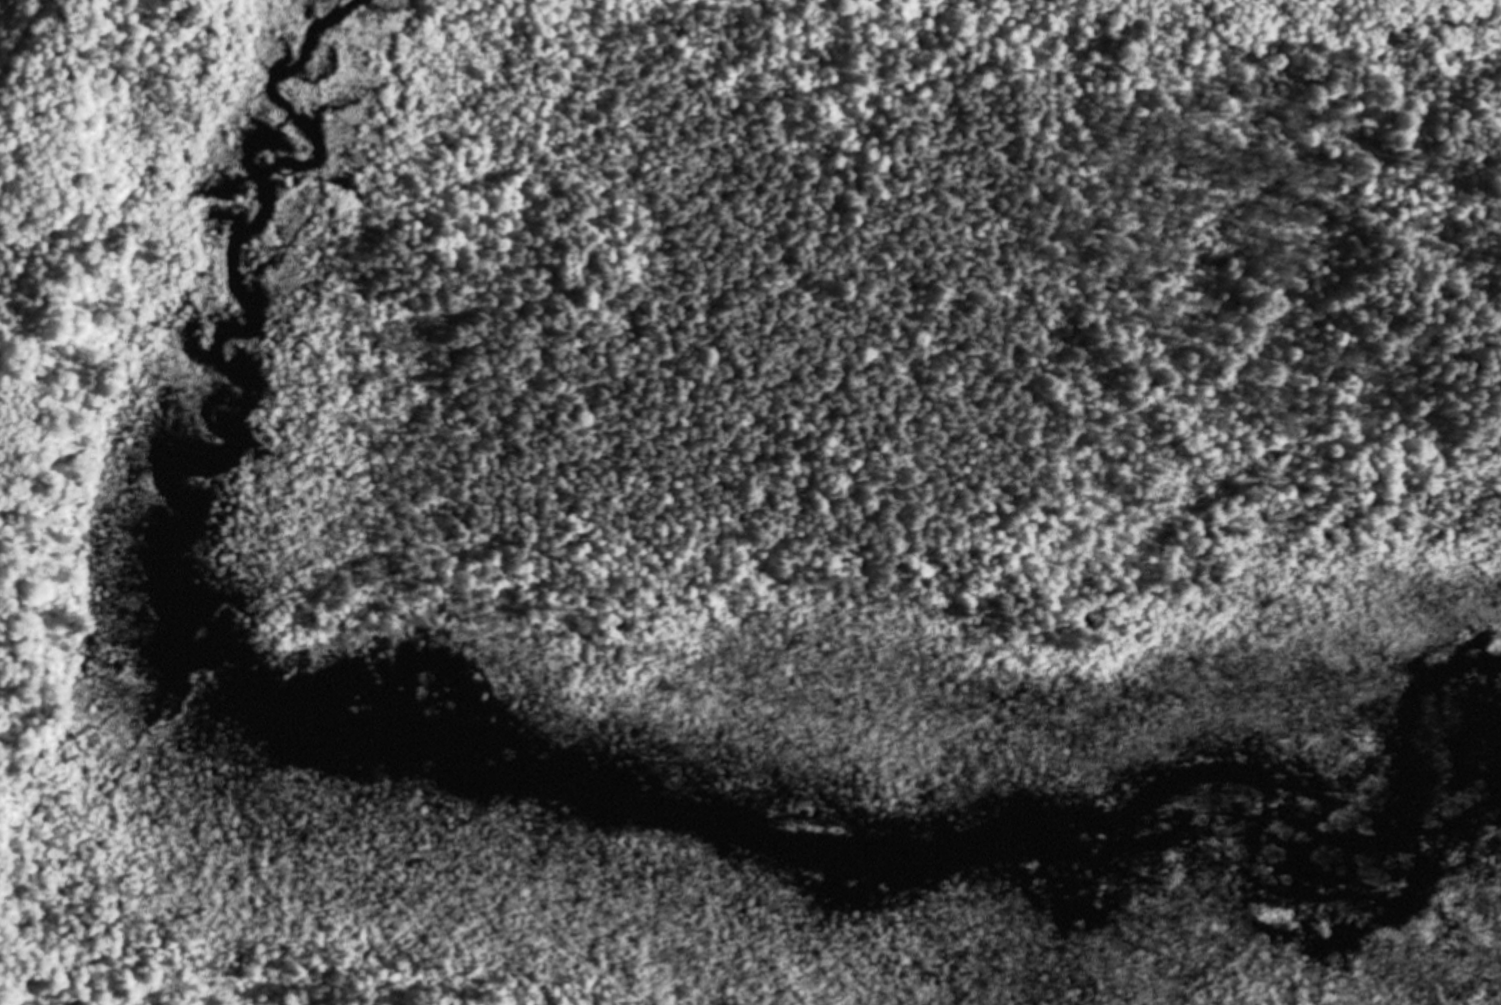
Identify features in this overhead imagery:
river: (477, 739)

